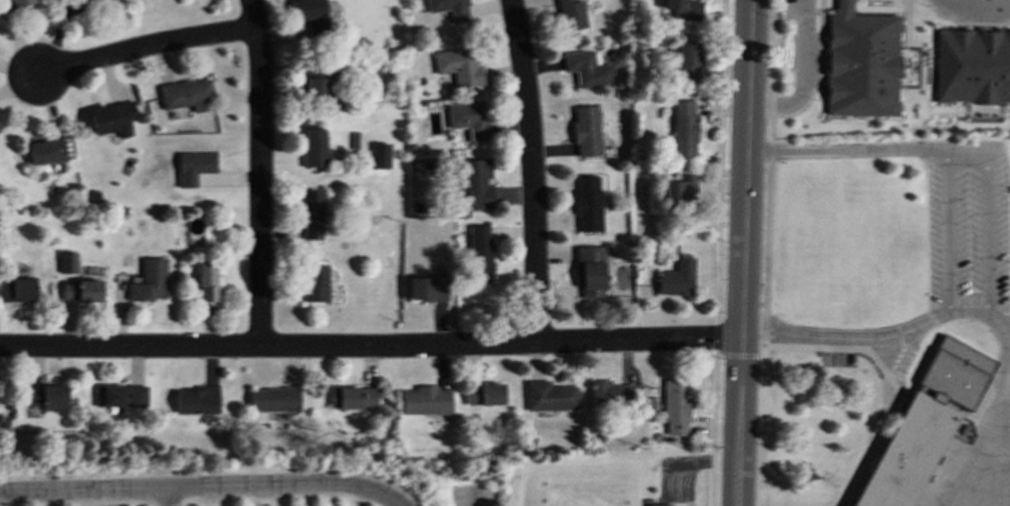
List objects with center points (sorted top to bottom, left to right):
building: (95, 3)
building: (13, 4)
road: (974, 7)
building: (448, 8)
building: (683, 9)
building: (571, 14)
building: (312, 15)
road: (145, 48)
building: (685, 60)
building: (861, 62)
building: (457, 66)
building: (972, 66)
building: (586, 69)
road: (801, 73)
building: (314, 83)
building: (186, 94)
building: (113, 118)
building: (467, 118)
building: (0, 126)
building: (682, 129)
building: (585, 130)
building: (312, 146)
building: (46, 150)
building: (378, 155)
road: (719, 161)
building: (193, 166)
road: (531, 170)
road: (261, 172)
road: (768, 177)
building: (475, 182)
building: (678, 189)
building: (587, 204)
building: (311, 214)
road: (946, 231)
road: (986, 240)
building: (478, 252)
road: (744, 253)
building: (589, 271)
building: (676, 278)
building: (148, 280)
building: (206, 281)
building: (313, 282)
building: (426, 288)
building: (17, 289)
building: (80, 290)
road: (717, 337)
road: (371, 346)
road: (738, 355)
building: (483, 393)
building: (610, 393)
building: (124, 395)
building: (549, 395)
building: (47, 397)
building: (356, 397)
building: (273, 399)
building: (196, 400)
building: (425, 400)
building: (675, 406)
building: (923, 424)
road: (712, 427)
road: (762, 427)
road: (206, 485)
road: (154, 496)
road: (61, 497)
road: (471, 498)

